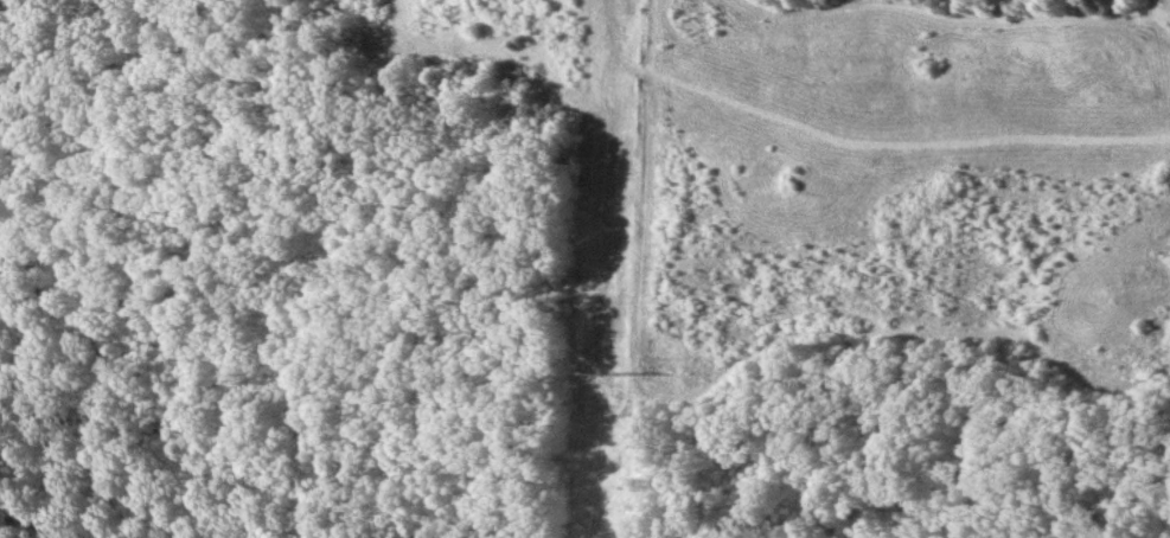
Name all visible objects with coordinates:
power tower: (608, 366)

